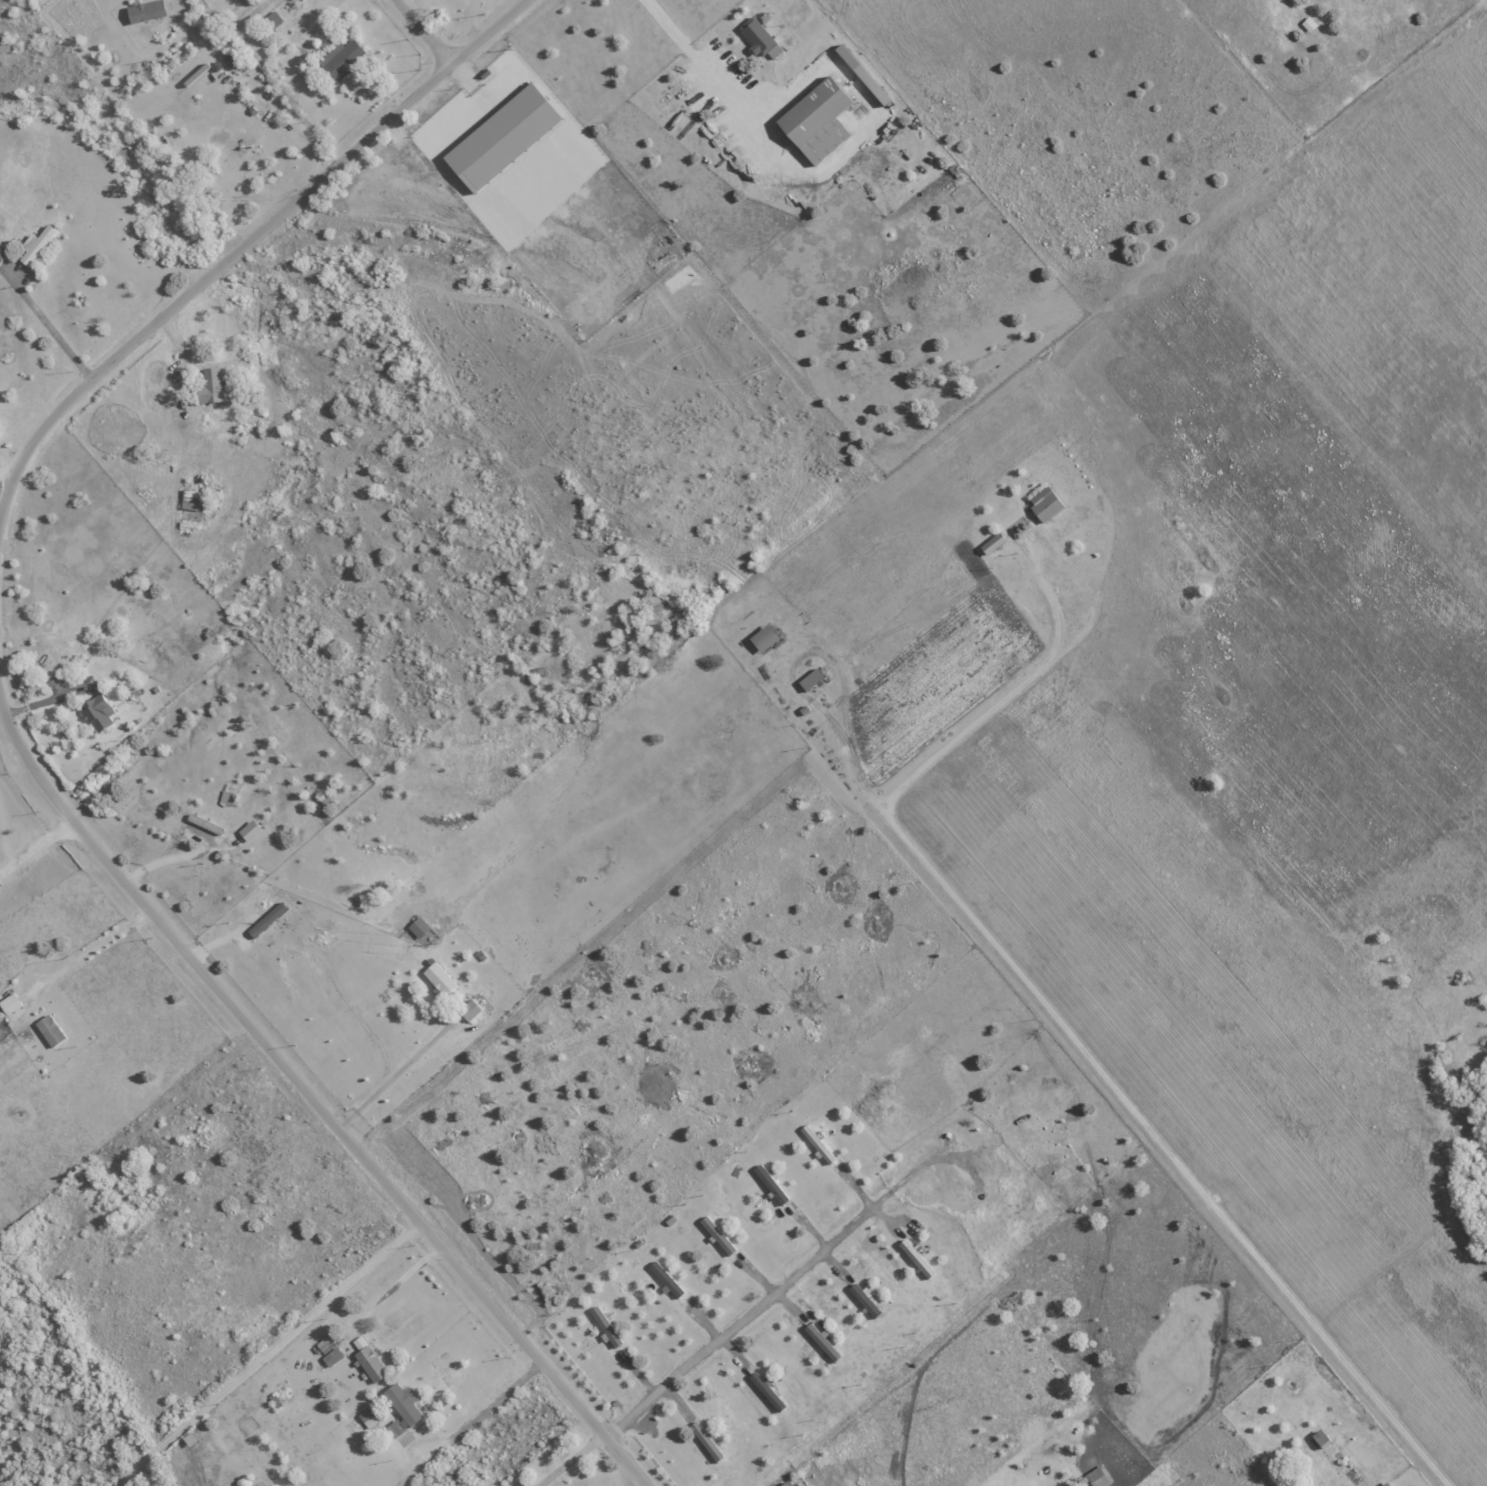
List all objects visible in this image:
building: (146, 11)
road: (422, 31)
building: (759, 39)
building: (229, 58)
building: (341, 59)
road: (694, 59)
building: (816, 120)
building: (502, 137)
building: (36, 244)
road: (245, 247)
building: (1, 254)
road: (49, 332)
building: (210, 385)
road: (7, 477)
building: (189, 499)
building: (1044, 504)
building: (992, 542)
building: (763, 637)
building: (810, 678)
building: (96, 712)
building: (248, 830)
road: (34, 844)
building: (267, 919)
building: (418, 927)
building: (436, 977)
building: (9, 1003)
building: (467, 1011)
road: (1053, 1018)
building: (49, 1030)
road: (396, 1072)
road: (311, 1098)
building: (770, 1183)
building: (716, 1235)
building: (915, 1257)
building: (665, 1278)
road: (396, 1283)
building: (864, 1299)
road: (752, 1307)
building: (606, 1328)
building: (822, 1341)
building: (328, 1350)
road: (268, 1353)
building: (367, 1359)
building: (767, 1390)
building: (403, 1402)
building: (368, 1415)
building: (396, 1426)
road: (476, 1427)
building: (705, 1441)
road: (570, 1461)
building: (1097, 1476)
building: (786, 1483)
building: (1385, 1484)

